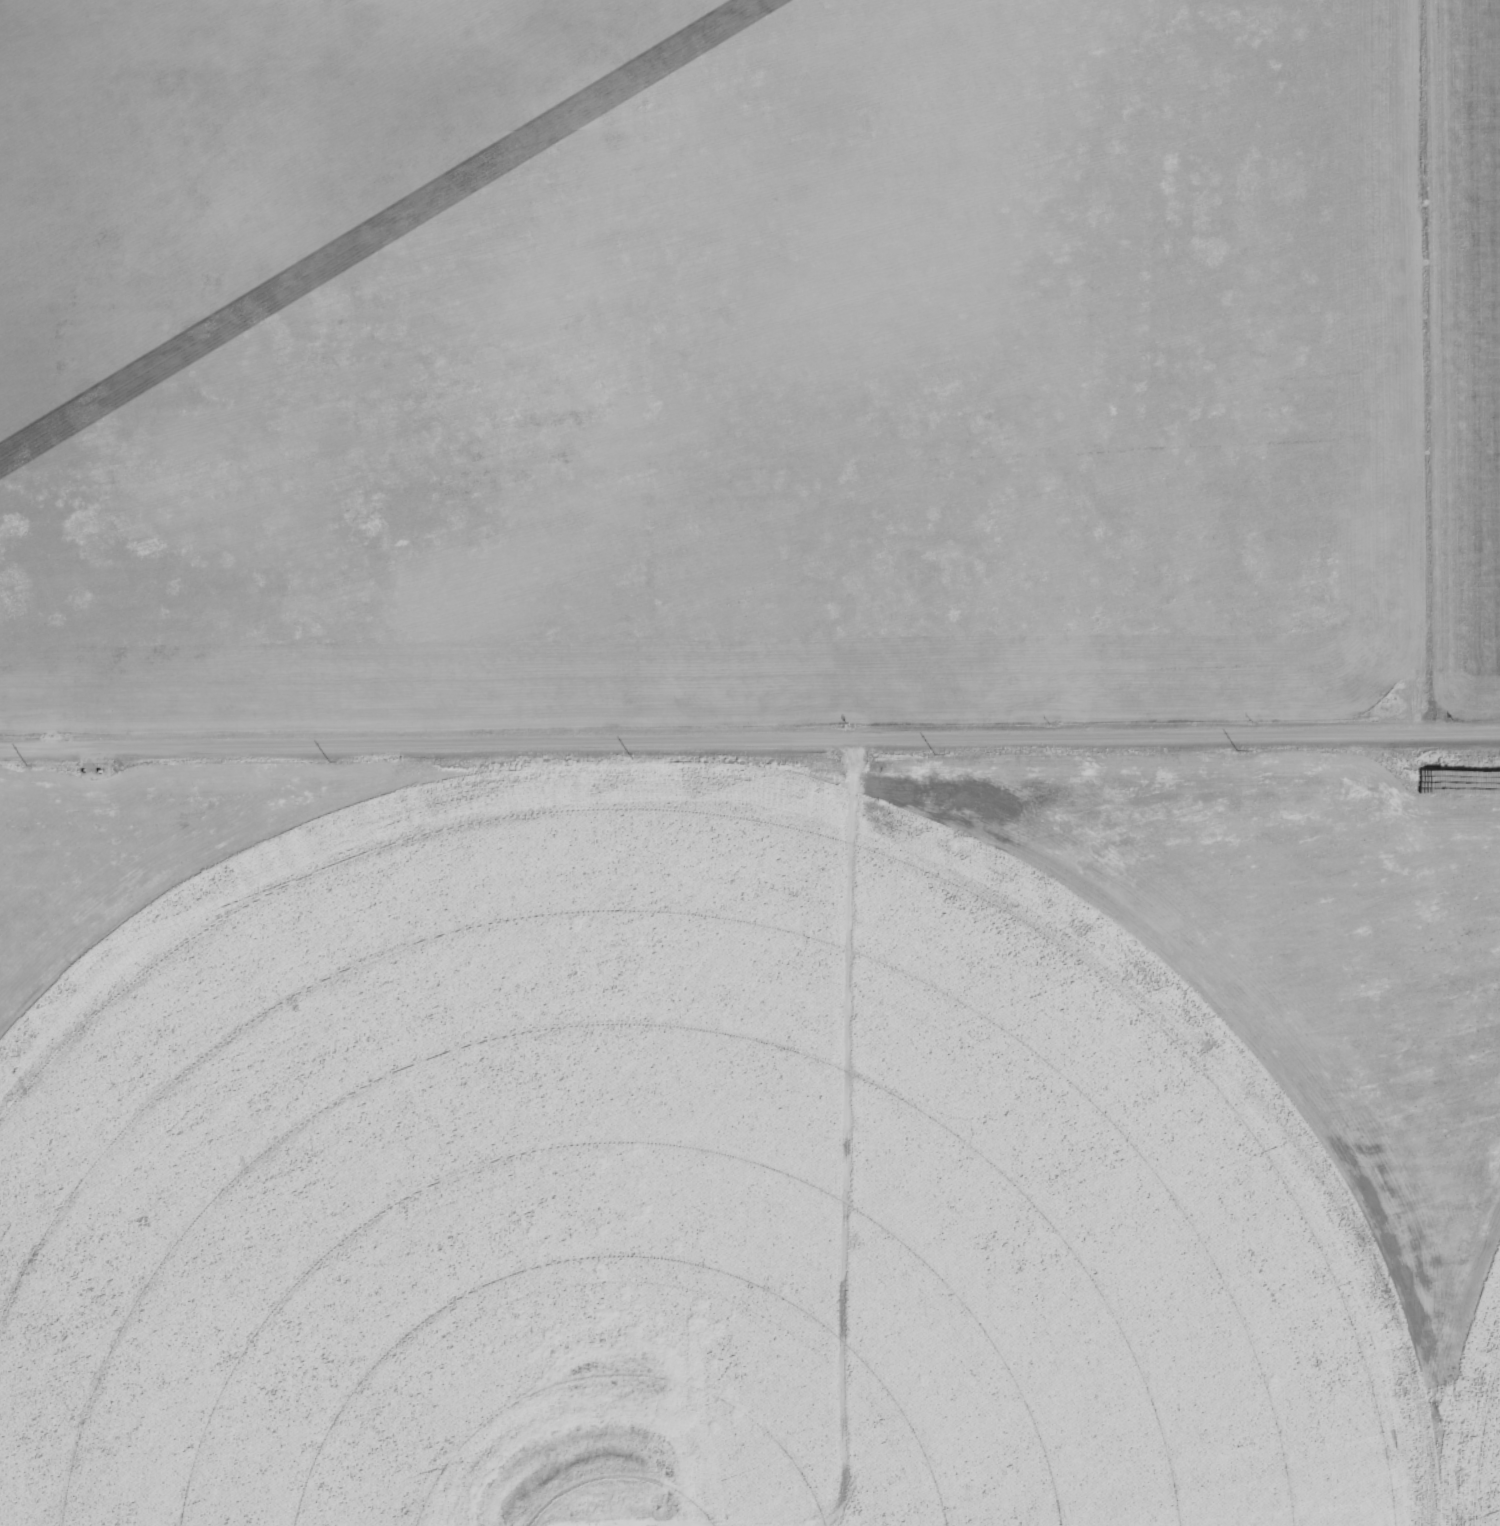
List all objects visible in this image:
road: (750, 740)

